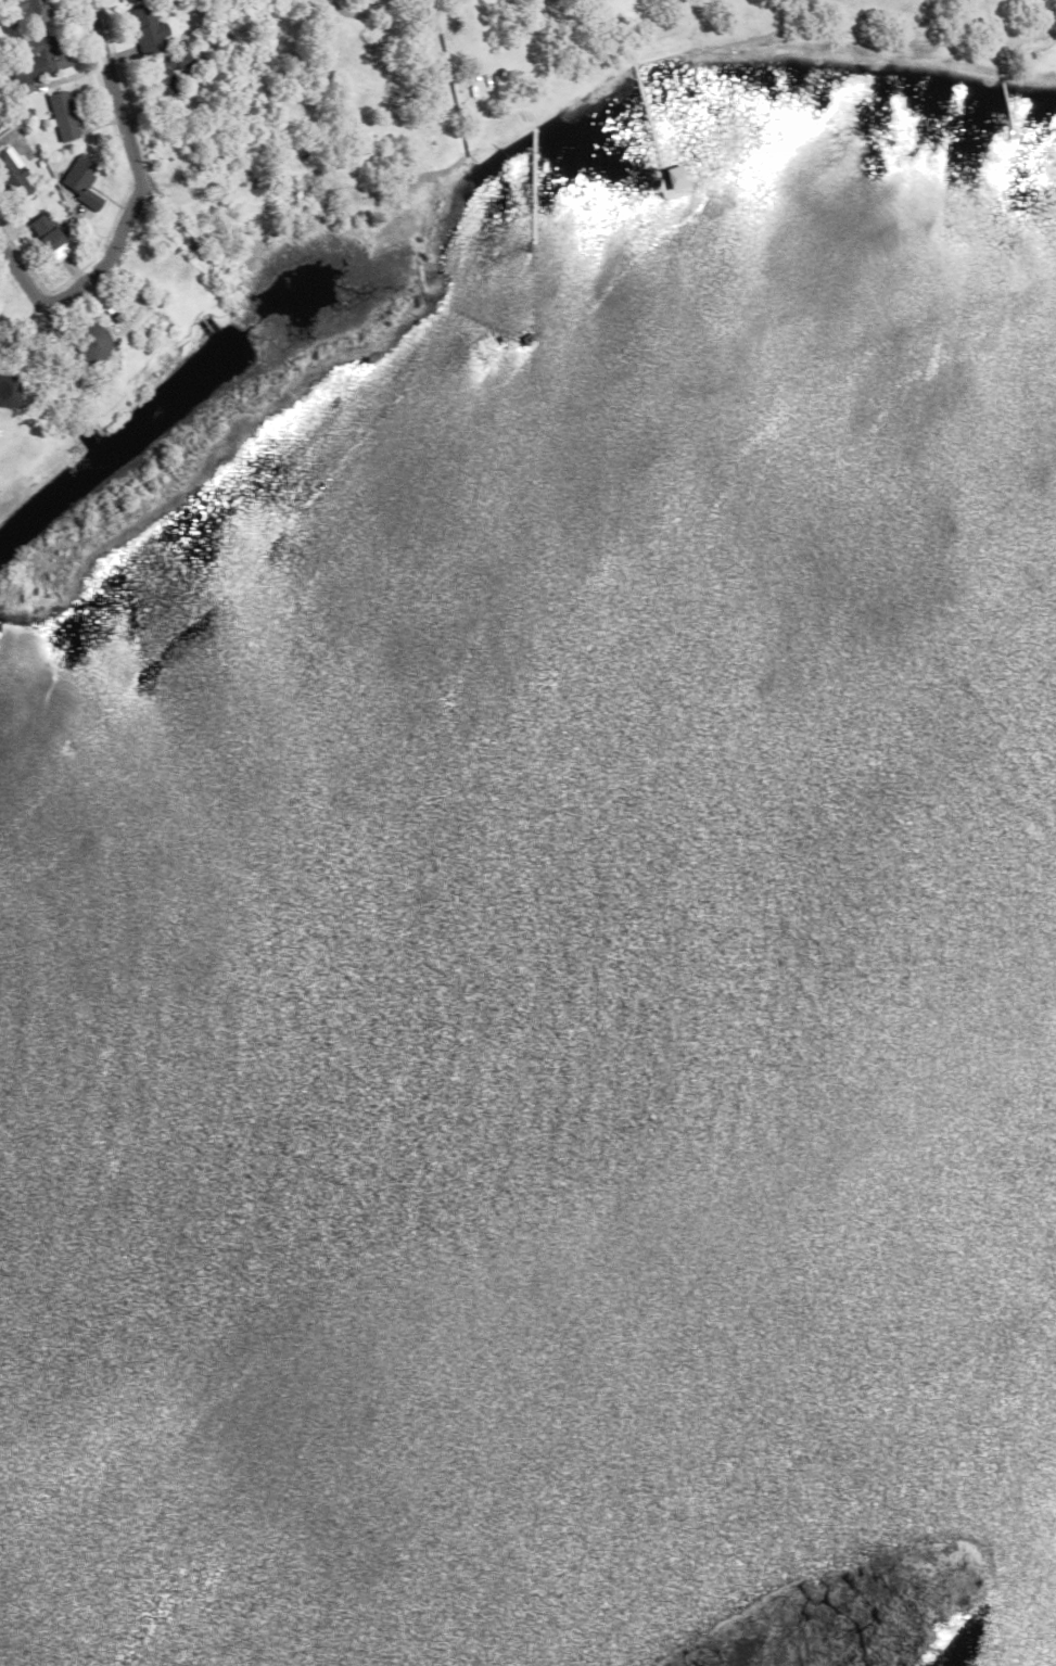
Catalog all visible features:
building: (120, 0)
building: (514, 0)
building: (25, 9)
building: (142, 27)
building: (195, 28)
building: (35, 61)
building: (162, 69)
building: (24, 110)
building: (58, 114)
building: (10, 174)
road: (138, 176)
building: (77, 180)
building: (50, 196)
building: (43, 234)
road: (17, 271)
building: (190, 284)
building: (98, 313)
building: (86, 343)

